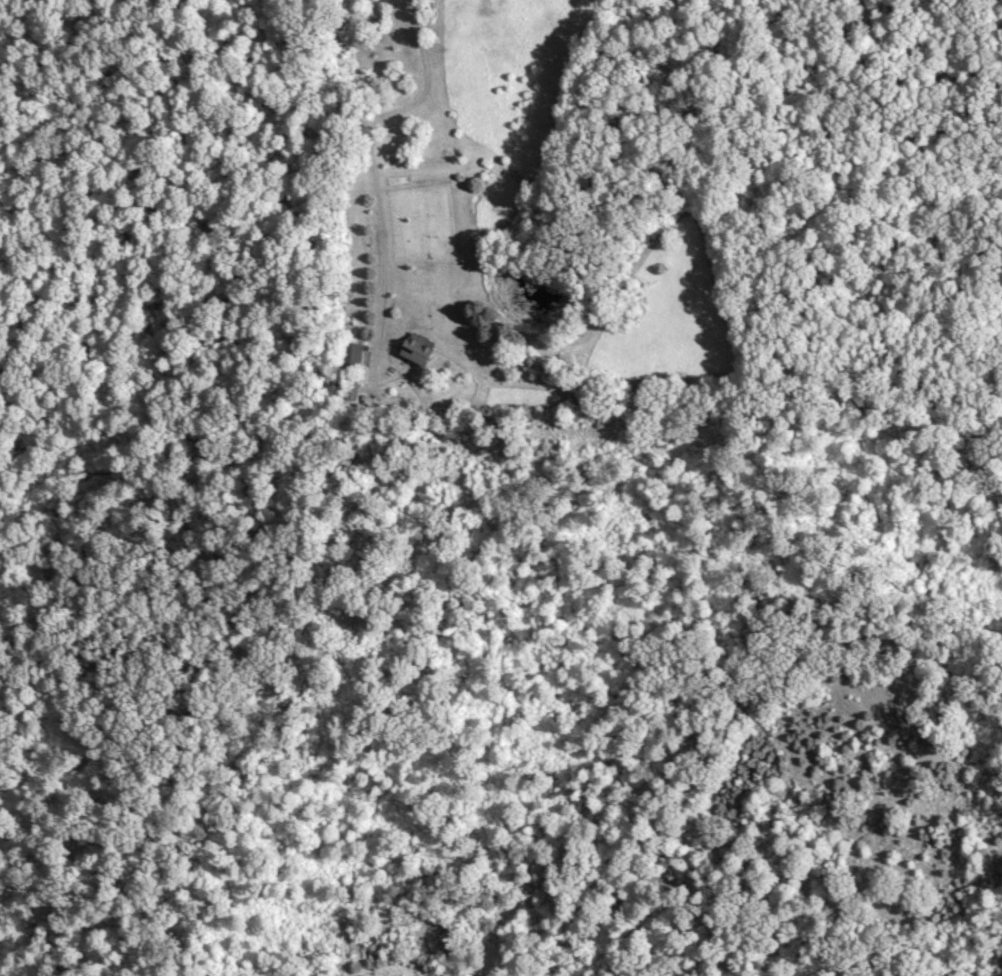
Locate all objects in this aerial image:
road: (371, 174)
building: (419, 350)
building: (353, 355)

